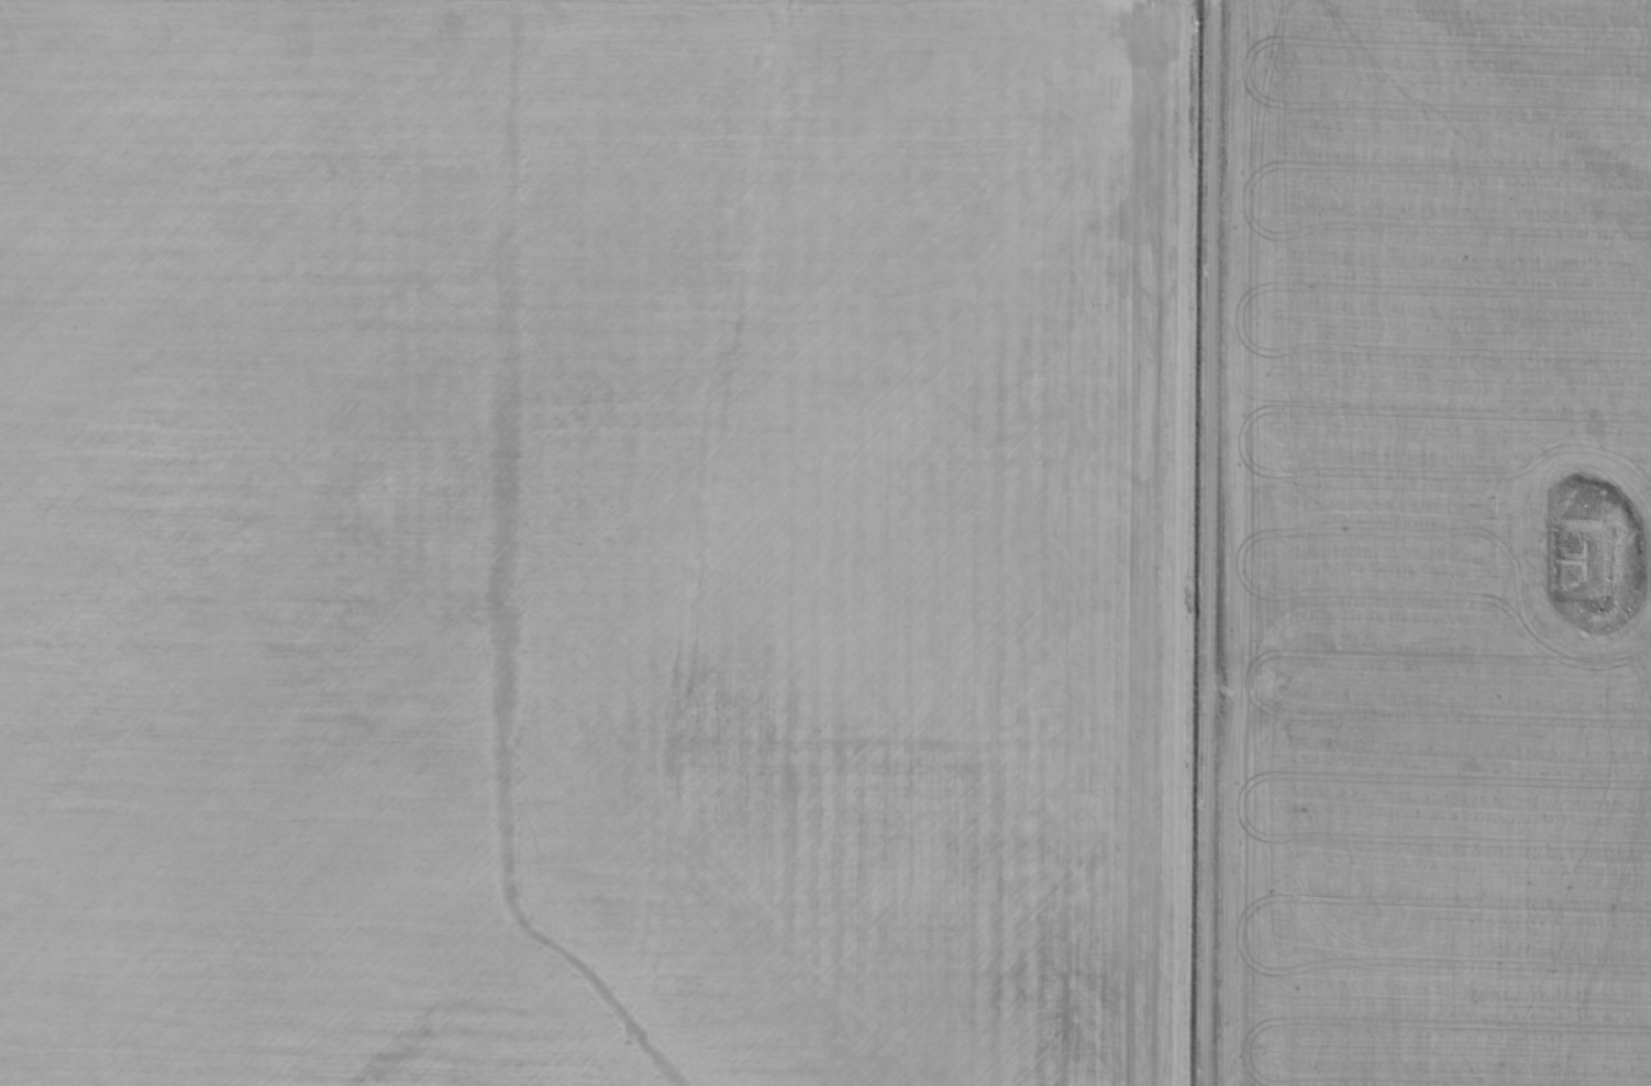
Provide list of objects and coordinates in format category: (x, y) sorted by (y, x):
road: (1214, 542)

